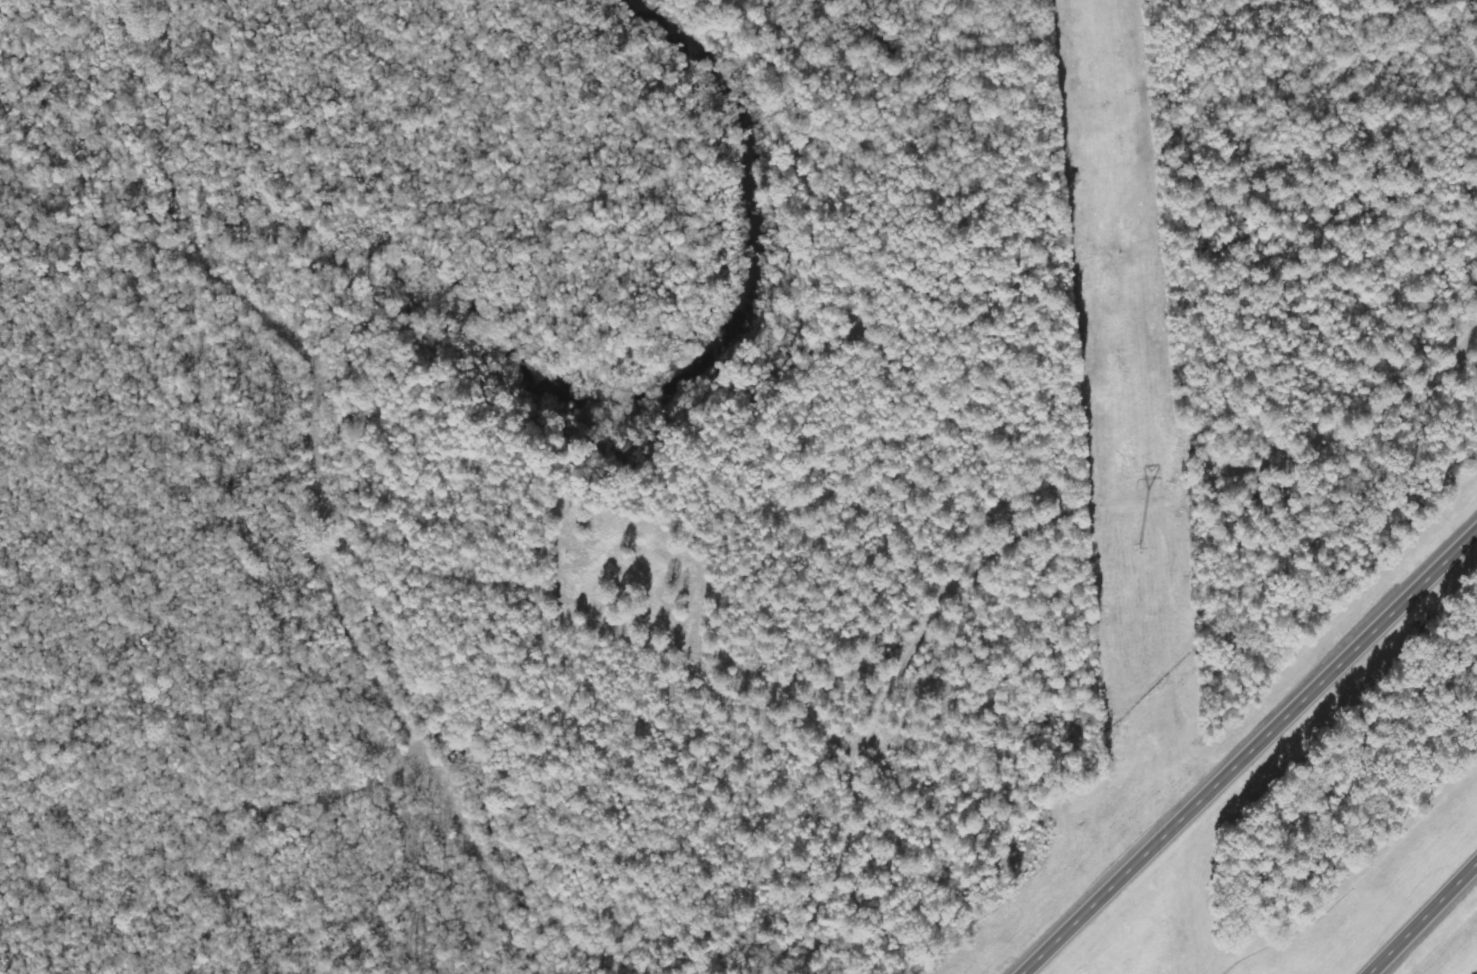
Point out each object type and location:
power tower: (1140, 548)
road: (1247, 750)
road: (1423, 919)

